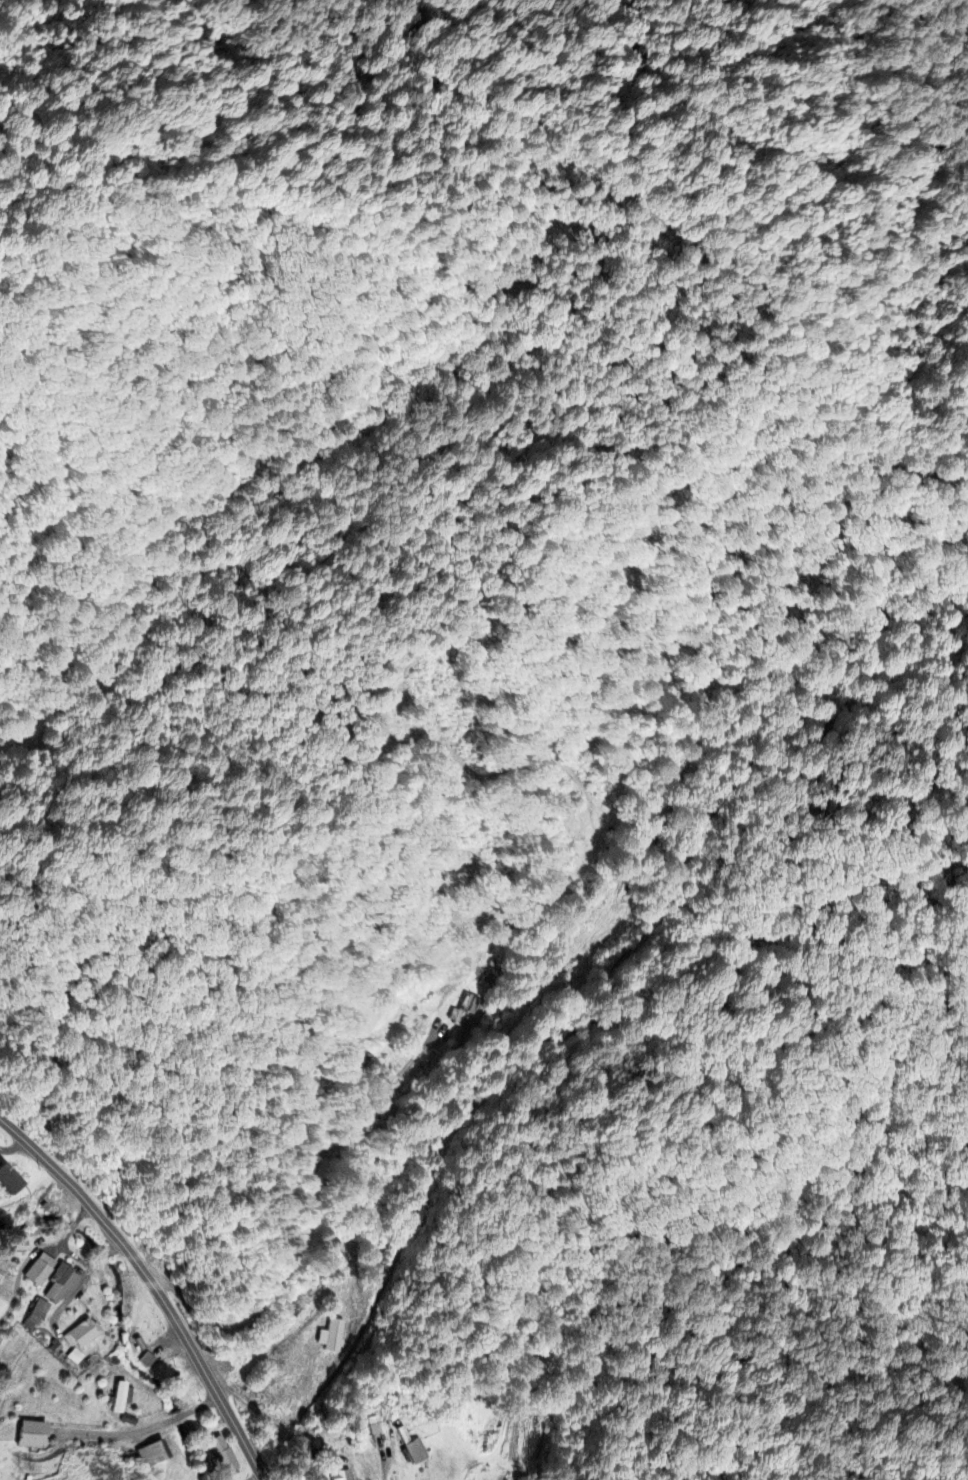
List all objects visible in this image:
road: (306, 1226)
road: (411, 1227)
road: (156, 1280)

